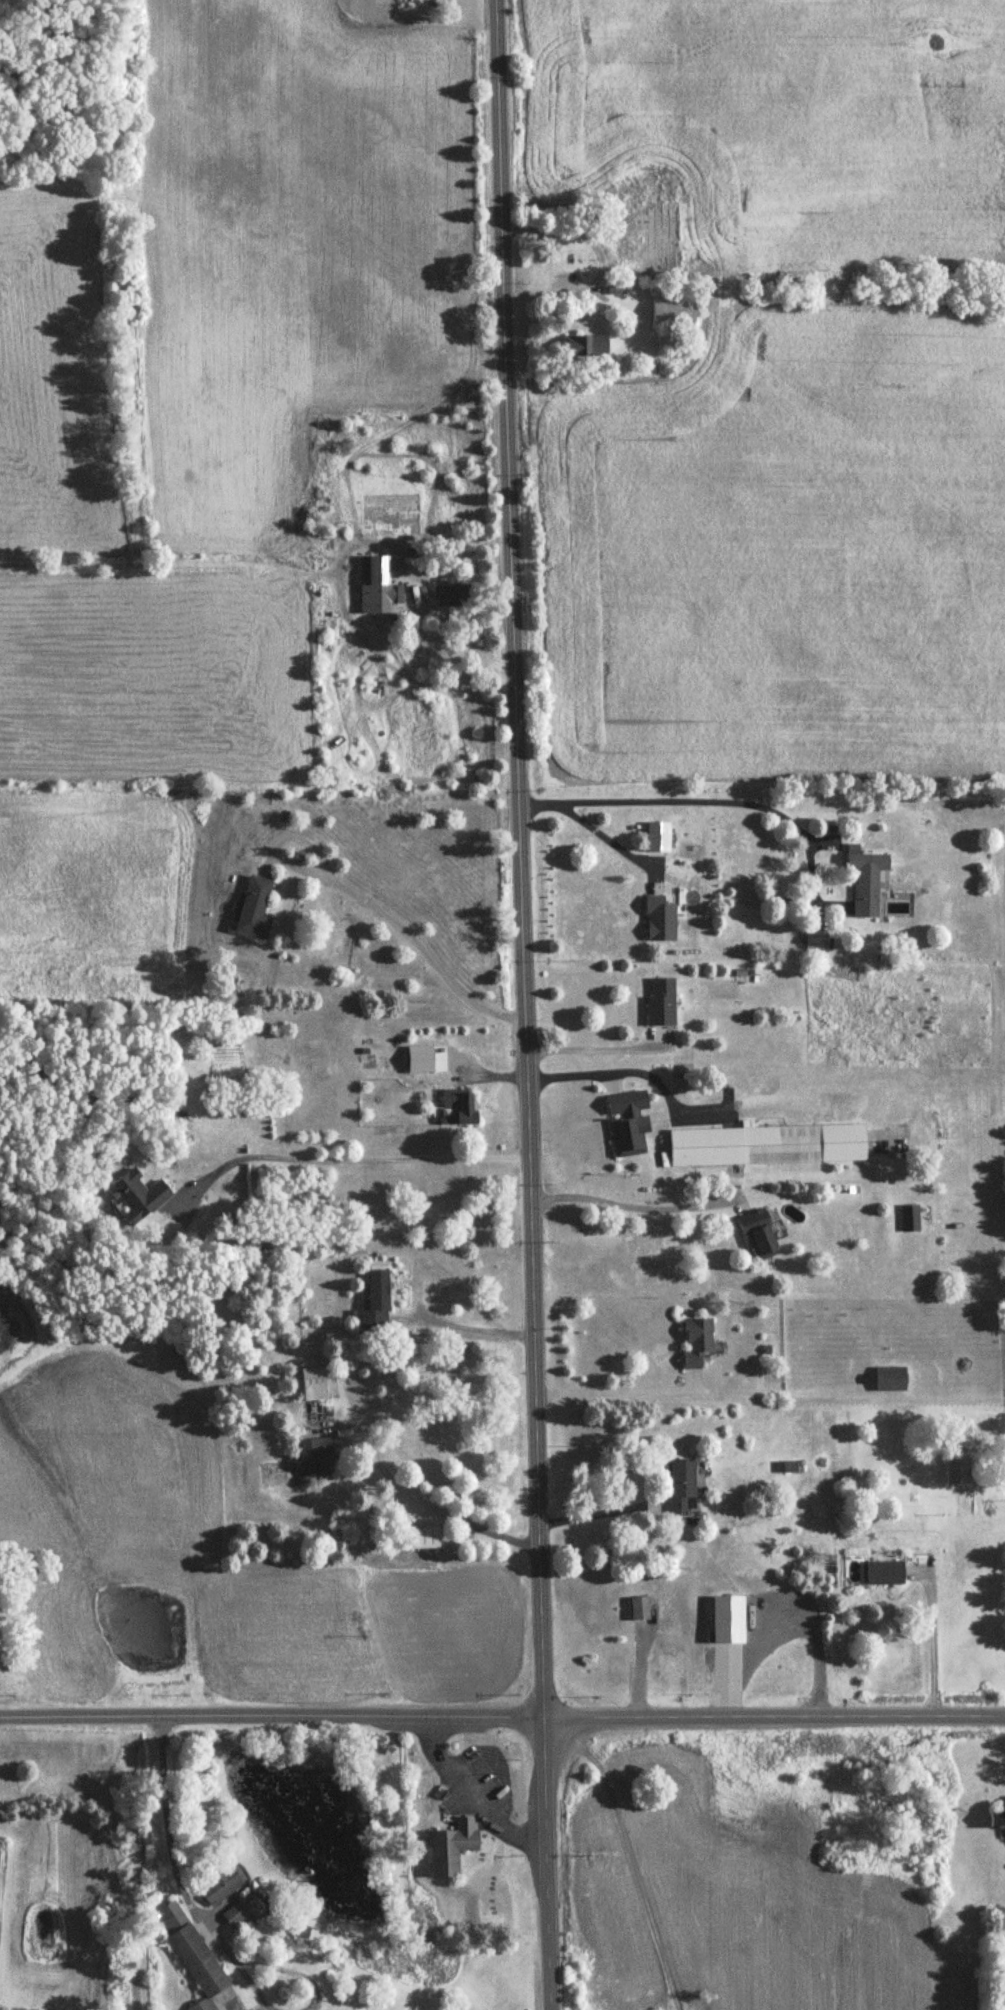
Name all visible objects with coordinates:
building: (662, 191)
building: (628, 238)
building: (673, 314)
building: (586, 348)
building: (376, 589)
building: (454, 597)
road: (651, 798)
road: (606, 837)
building: (865, 882)
building: (254, 910)
building: (660, 922)
building: (817, 942)
road: (428, 947)
building: (661, 1003)
road: (520, 1004)
road: (590, 1046)
road: (631, 1068)
building: (460, 1107)
building: (628, 1123)
building: (767, 1147)
road: (339, 1156)
building: (138, 1198)
road: (625, 1203)
building: (909, 1220)
building: (758, 1236)
road: (416, 1299)
building: (376, 1304)
building: (697, 1342)
building: (891, 1380)
building: (313, 1386)
road: (614, 1391)
building: (316, 1459)
building: (957, 1471)
building: (683, 1487)
road: (430, 1507)
building: (417, 1538)
building: (884, 1574)
building: (642, 1609)
road: (786, 1614)
building: (728, 1620)
road: (933, 1640)
road: (502, 1712)
road: (481, 1783)
building: (998, 1819)
road: (170, 1845)
building: (451, 1848)
road: (632, 1856)
building: (219, 1886)
building: (190, 1954)
road: (286, 1972)
road: (251, 1985)

